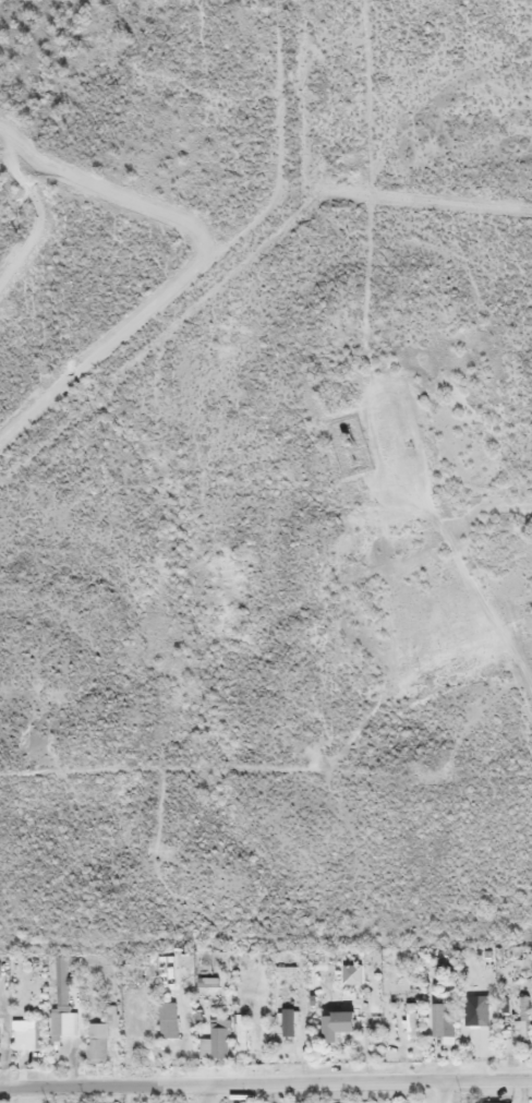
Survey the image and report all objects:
building: (164, 963)
building: (166, 1014)
building: (437, 1015)
building: (519, 1016)
building: (334, 1017)
building: (410, 1018)
building: (286, 1021)
building: (65, 1026)
building: (241, 1031)
building: (219, 1032)
building: (26, 1034)
building: (97, 1042)
road: (266, 1080)
road: (445, 1089)
road: (208, 1092)
building: (486, 1101)
building: (337, 1102)

